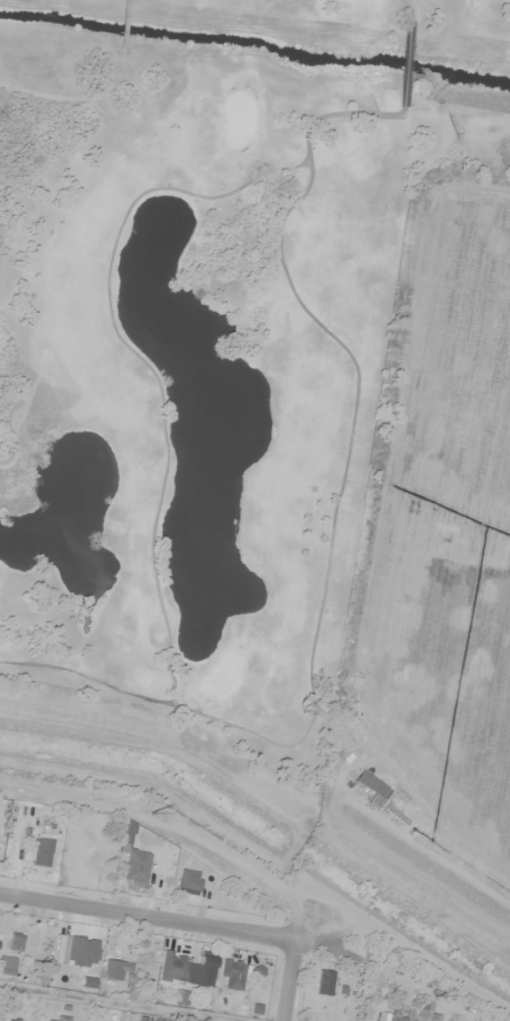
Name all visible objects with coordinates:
park: (199, 345)
building: (354, 683)
building: (372, 790)
building: (127, 832)
building: (42, 855)
building: (136, 868)
building: (189, 882)
road: (193, 931)
building: (15, 942)
building: (82, 952)
building: (7, 966)
building: (187, 969)
building: (118, 971)
building: (232, 974)
building: (324, 982)
road: (293, 985)
building: (391, 1017)
building: (430, 1017)
building: (64, 1019)
building: (12, 1020)

